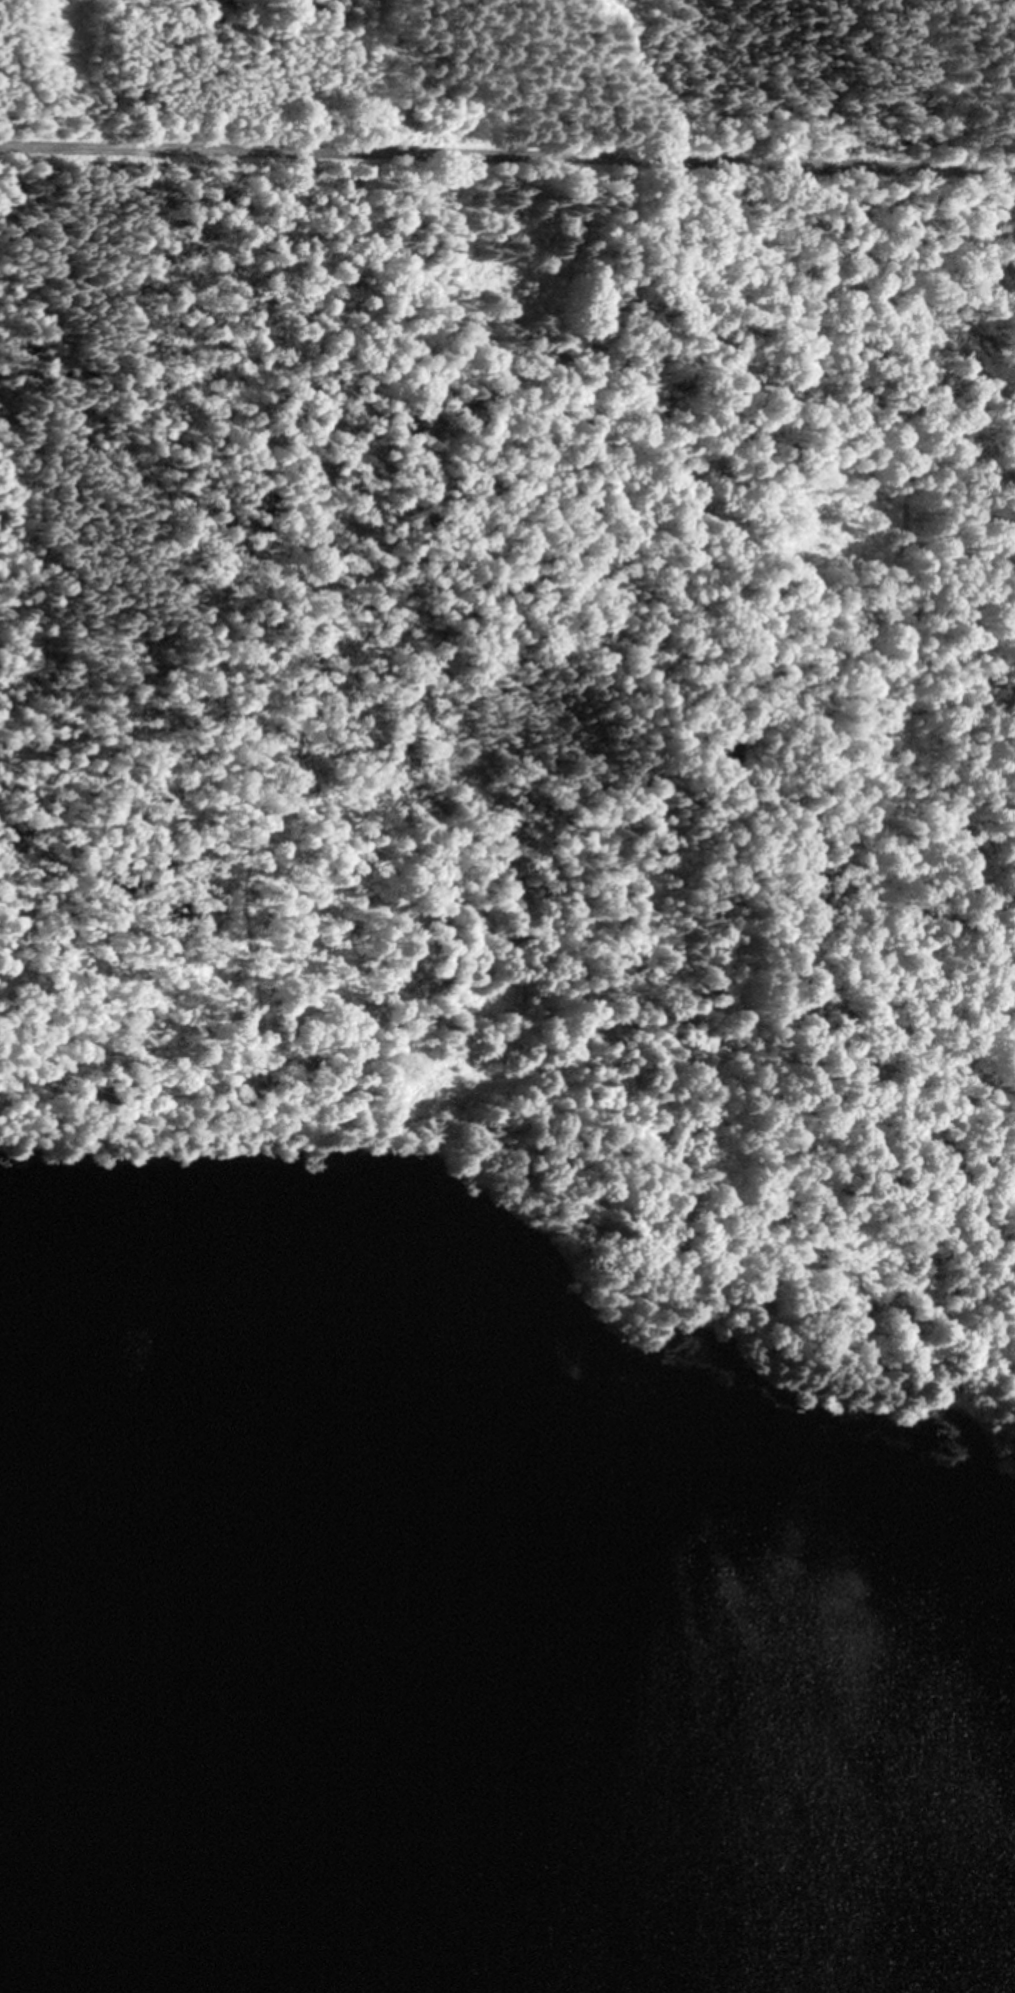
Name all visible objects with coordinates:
road: (507, 155)

